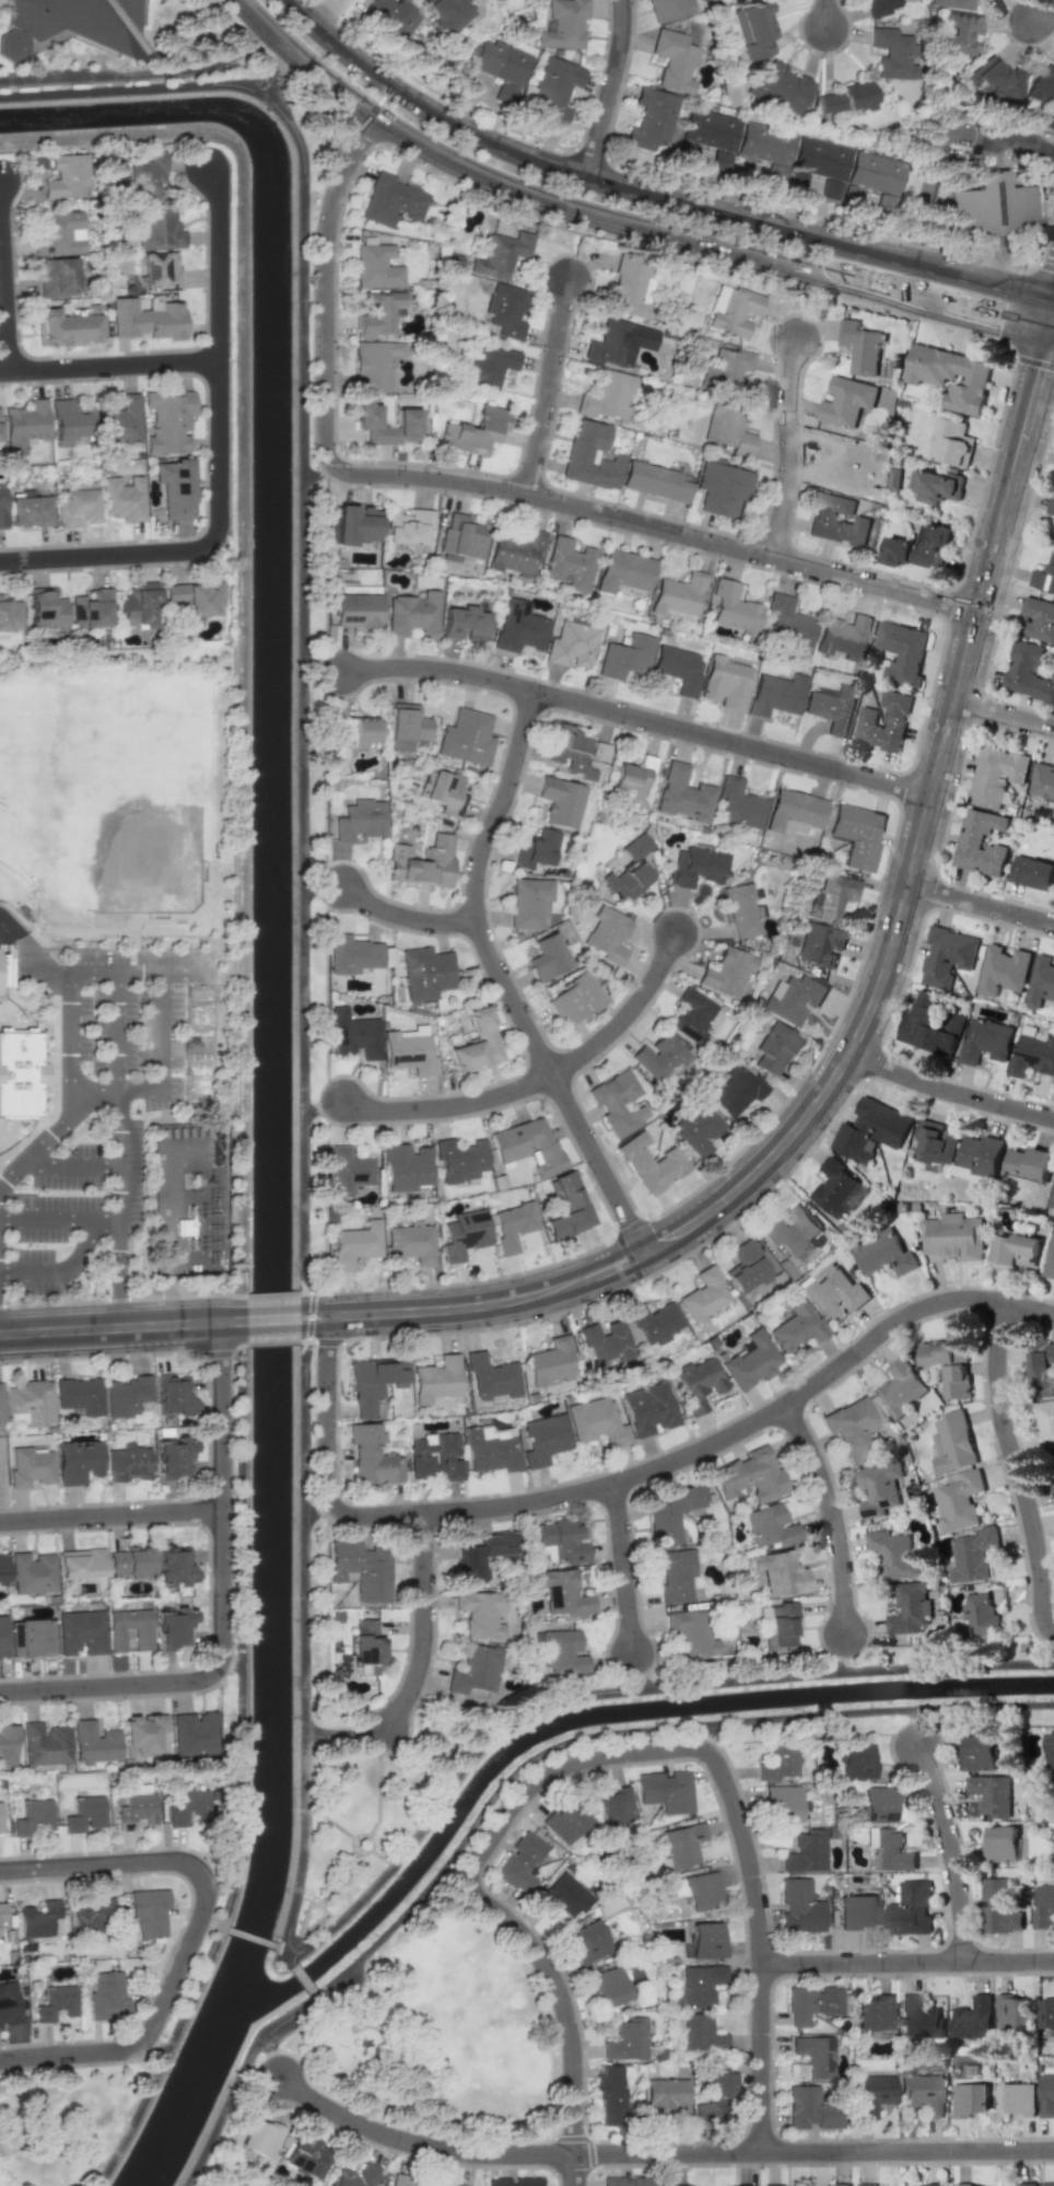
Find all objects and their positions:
building: (706, 0)
building: (952, 3)
building: (877, 7)
building: (668, 9)
road: (253, 12)
building: (444, 12)
road: (323, 14)
road: (828, 14)
building: (389, 15)
building: (71, 23)
road: (1042, 23)
building: (562, 24)
building: (752, 28)
building: (958, 32)
building: (893, 54)
building: (674, 60)
road: (270, 67)
building: (497, 67)
road: (140, 72)
building: (995, 81)
building: (554, 88)
building: (780, 88)
road: (609, 91)
building: (1043, 93)
building: (846, 97)
building: (651, 119)
building: (707, 139)
road: (938, 140)
building: (761, 147)
building: (819, 158)
building: (875, 173)
building: (66, 176)
building: (145, 176)
building: (829, 188)
road: (645, 198)
road: (549, 199)
building: (393, 200)
building: (993, 205)
building: (160, 226)
building: (60, 234)
building: (502, 254)
road: (1044, 266)
building: (377, 267)
building: (161, 270)
road: (5, 274)
building: (57, 277)
building: (631, 284)
road: (903, 293)
building: (733, 310)
building: (504, 312)
building: (378, 314)
road: (992, 316)
building: (148, 318)
building: (66, 328)
road: (1053, 328)
road: (1053, 333)
building: (619, 342)
building: (859, 347)
road: (1033, 362)
road: (109, 363)
building: (374, 364)
building: (490, 365)
building: (725, 369)
building: (929, 382)
road: (549, 386)
building: (608, 396)
building: (845, 402)
building: (367, 417)
building: (119, 419)
building: (68, 421)
building: (168, 421)
building: (24, 426)
building: (728, 428)
building: (475, 431)
building: (950, 442)
road: (790, 450)
building: (590, 456)
road: (220, 461)
road: (1016, 473)
road: (316, 474)
building: (654, 481)
road: (482, 485)
building: (936, 487)
building: (175, 488)
building: (721, 488)
building: (122, 498)
building: (77, 505)
building: (1051, 505)
building: (1, 507)
building: (28, 509)
building: (822, 520)
building: (351, 523)
building: (408, 526)
building: (1053, 535)
building: (461, 536)
building: (515, 553)
building: (569, 563)
road: (298, 570)
building: (623, 571)
building: (1043, 575)
building: (196, 597)
building: (138, 605)
building: (46, 608)
building: (92, 608)
building: (734, 608)
building: (355, 611)
building: (412, 613)
building: (10, 614)
building: (1038, 619)
building: (788, 621)
building: (465, 624)
building: (519, 627)
building: (841, 635)
building: (571, 644)
building: (901, 652)
building: (625, 656)
road: (321, 663)
building: (677, 668)
building: (1027, 672)
building: (725, 683)
building: (776, 694)
building: (830, 710)
building: (894, 716)
road: (1005, 717)
road: (640, 719)
building: (407, 725)
building: (356, 732)
building: (467, 737)
building: (576, 753)
building: (995, 776)
building: (630, 779)
building: (1042, 780)
building: (444, 793)
building: (682, 793)
building: (563, 802)
building: (739, 804)
building: (795, 811)
building: (360, 819)
building: (857, 835)
building: (980, 842)
building: (536, 849)
building: (423, 863)
building: (696, 867)
building: (630, 870)
building: (1032, 872)
building: (836, 892)
road: (320, 893)
building: (529, 902)
road: (980, 908)
building: (740, 909)
road: (406, 919)
building: (607, 934)
building: (819, 944)
building: (352, 954)
building: (947, 955)
building: (548, 957)
building: (1003, 970)
road: (46, 972)
road: (138, 972)
building: (426, 973)
building: (727, 973)
building: (1041, 981)
road: (502, 982)
building: (795, 998)
building: (575, 999)
road: (628, 1015)
building: (692, 1015)
road: (70, 1016)
building: (929, 1026)
road: (162, 1030)
road: (203, 1030)
road: (114, 1032)
building: (353, 1034)
building: (477, 1042)
building: (985, 1042)
building: (773, 1049)
building: (409, 1053)
building: (659, 1056)
building: (1032, 1056)
building: (19, 1073)
road: (70, 1079)
road: (169, 1085)
road: (130, 1090)
building: (734, 1091)
road: (94, 1094)
road: (949, 1094)
building: (618, 1102)
road: (450, 1107)
road: (321, 1108)
building: (698, 1129)
road: (797, 1129)
building: (870, 1130)
building: (935, 1143)
road: (40, 1144)
building: (527, 1146)
road: (120, 1156)
building: (979, 1156)
building: (460, 1160)
building: (651, 1163)
building: (1030, 1164)
road: (70, 1165)
building: (405, 1167)
building: (348, 1171)
building: (834, 1187)
building: (1052, 1198)
power substation: (192, 1199)
building: (569, 1207)
road: (59, 1219)
building: (513, 1225)
building: (793, 1231)
building: (465, 1234)
building: (955, 1236)
road: (617, 1240)
building: (411, 1242)
road: (84, 1245)
building: (354, 1245)
building: (1015, 1252)
building: (885, 1254)
building: (1050, 1261)
building: (746, 1267)
road: (34, 1271)
road: (120, 1276)
building: (833, 1292)
building: (704, 1297)
road: (272, 1323)
building: (655, 1323)
building: (796, 1326)
road: (122, 1330)
road: (302, 1333)
building: (606, 1341)
road: (316, 1344)
road: (230, 1352)
building: (751, 1361)
building: (550, 1362)
building: (949, 1364)
building: (1040, 1369)
building: (492, 1376)
building: (436, 1380)
building: (373, 1383)
building: (698, 1383)
building: (900, 1388)
building: (80, 1395)
building: (173, 1395)
building: (128, 1396)
building: (31, 1400)
building: (1, 1407)
building: (649, 1409)
building: (597, 1421)
building: (1044, 1422)
building: (854, 1429)
building: (543, 1439)
building: (952, 1443)
building: (491, 1449)
building: (373, 1455)
building: (173, 1456)
building: (434, 1456)
building: (78, 1462)
building: (128, 1463)
building: (30, 1466)
road: (1018, 1472)
building: (750, 1476)
road: (621, 1481)
building: (1053, 1485)
building: (879, 1489)
building: (959, 1500)
road: (318, 1508)
building: (672, 1511)
road: (109, 1514)
road: (833, 1516)
building: (770, 1526)
building: (561, 1540)
building: (481, 1551)
building: (893, 1553)
building: (972, 1554)
building: (130, 1561)
building: (81, 1563)
building: (174, 1565)
building: (3, 1567)
building: (361, 1569)
road: (626, 1569)
building: (33, 1572)
building: (780, 1572)
building: (675, 1573)
building: (564, 1593)
road: (221, 1607)
building: (912, 1607)
building: (985, 1609)
building: (481, 1614)
building: (780, 1626)
building: (174, 1628)
road: (426, 1628)
building: (80, 1632)
building: (692, 1632)
building: (2, 1637)
building: (32, 1638)
building: (142, 1639)
road: (303, 1648)
building: (366, 1649)
building: (562, 1652)
road: (840, 1654)
road: (232, 1663)
building: (475, 1670)
road: (641, 1672)
road: (617, 1690)
road: (915, 1724)
building: (194, 1733)
building: (143, 1734)
road: (706, 1737)
road: (598, 1739)
building: (93, 1742)
building: (8, 1744)
building: (45, 1744)
building: (1050, 1749)
building: (979, 1753)
building: (855, 1760)
building: (780, 1765)
road: (242, 1784)
building: (668, 1790)
building: (991, 1794)
road: (733, 1797)
building: (782, 1802)
building: (877, 1804)
road: (378, 1805)
building: (191, 1806)
building: (614, 1807)
building: (137, 1812)
building: (84, 1814)
building: (31, 1817)
building: (0, 1819)
road: (328, 1819)
building: (564, 1822)
road: (351, 1835)
building: (1000, 1845)
building: (681, 1846)
road: (949, 1848)
building: (889, 1849)
building: (805, 1852)
building: (519, 1863)
road: (344, 1869)
building: (701, 1892)
building: (563, 1896)
building: (799, 1907)
building: (1043, 1907)
building: (910, 1909)
building: (2, 1911)
building: (148, 1911)
building: (856, 1911)
building: (92, 1915)
building: (38, 1920)
road: (209, 1922)
road: (191, 1931)
road: (250, 1938)
building: (705, 1940)
building: (589, 1941)
road: (289, 1955)
road: (909, 1963)
road: (302, 1979)
building: (700, 1986)
building: (609, 1987)
road: (316, 1996)
building: (106, 1997)
building: (55, 2002)
building: (8, 2004)
building: (813, 2004)
building: (1011, 2011)
building: (874, 2013)
building: (1046, 2013)
building: (921, 2019)
building: (971, 2019)
road: (571, 2023)
building: (701, 2033)
park: (445, 2035)
building: (628, 2040)
road: (155, 2044)
road: (273, 2057)
building: (813, 2057)
building: (667, 2093)
building: (874, 2093)
building: (922, 2093)
building: (611, 2094)
building: (1045, 2095)
building: (716, 2096)
building: (969, 2098)
building: (1016, 2098)
building: (810, 2108)
road: (223, 2109)
park: (66, 2121)
building: (260, 2138)
road: (658, 2154)
building: (306, 2158)
building: (356, 2176)
building: (514, 2182)
building: (622, 2182)
building: (406, 2183)
building: (839, 2184)
building: (866, 2184)
building: (933, 2184)
building: (1024, 2184)
building: (1046, 2184)
building: (222, 2185)
building: (457, 2185)
building: (681, 2185)
building: (773, 2185)

